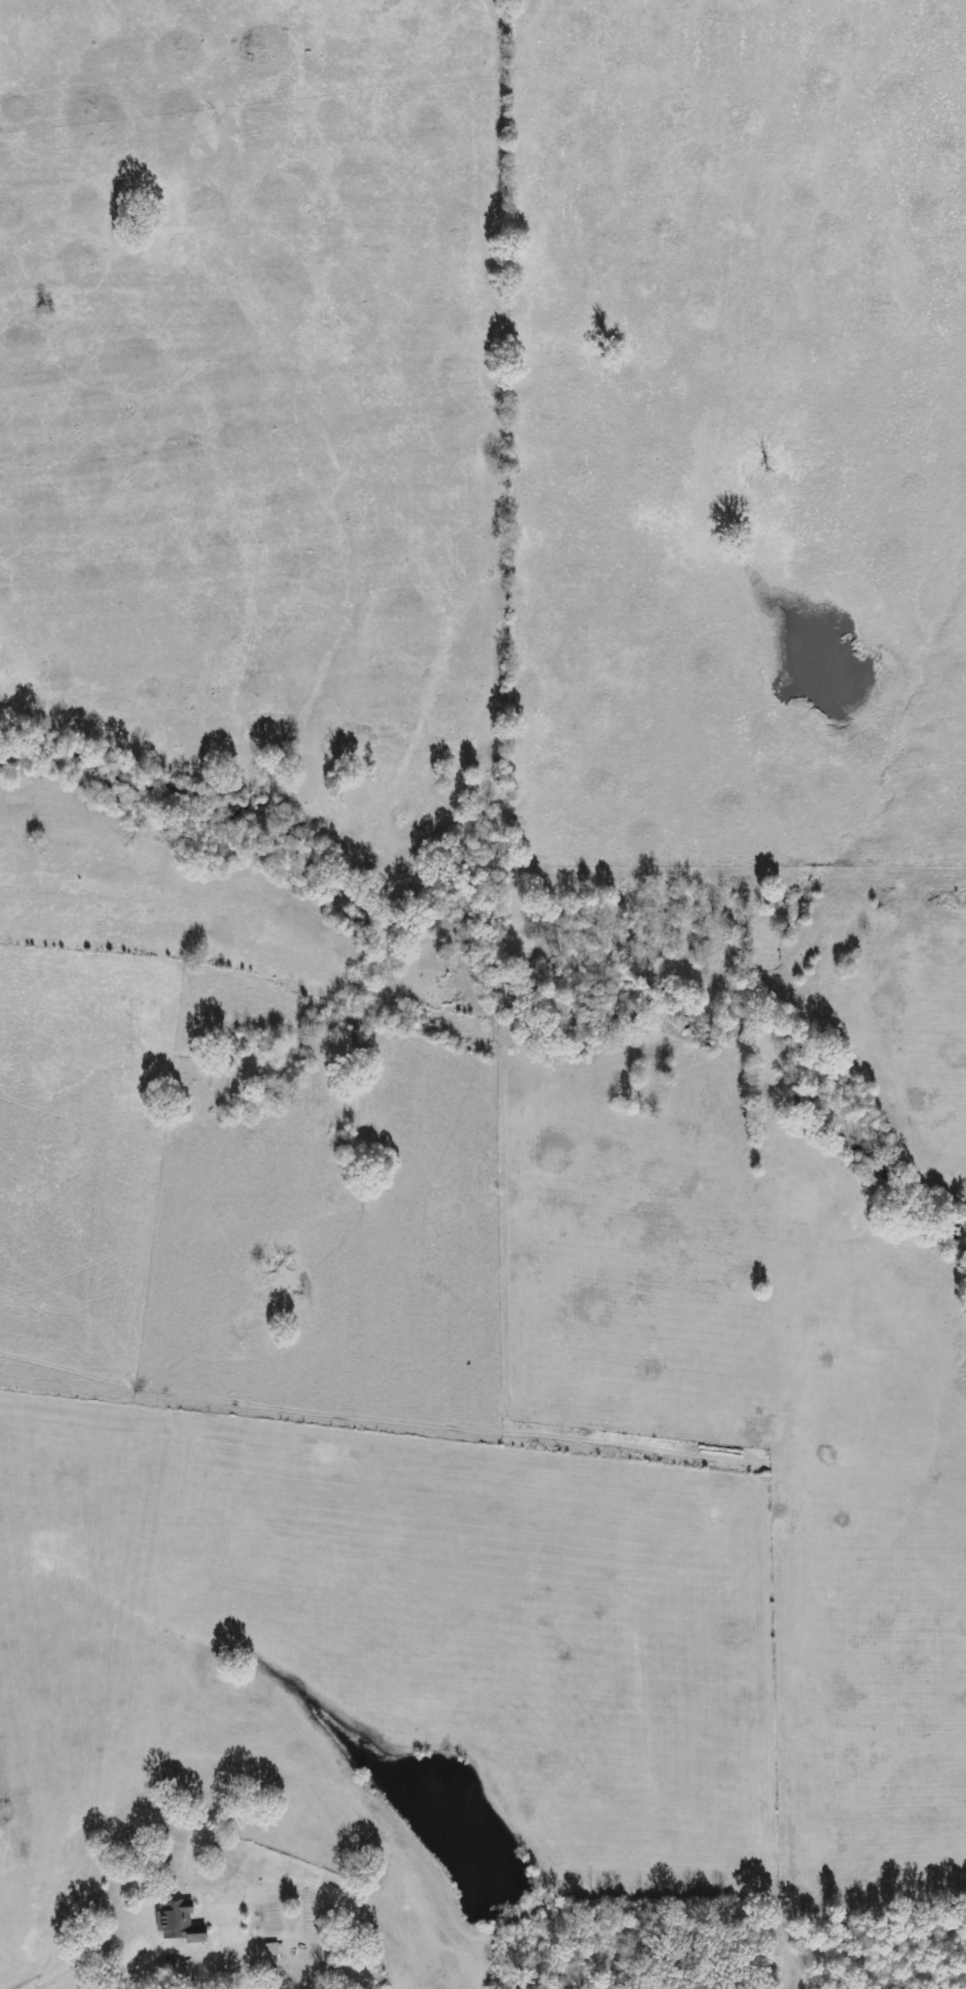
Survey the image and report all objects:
building: (179, 1923)
building: (273, 1949)

